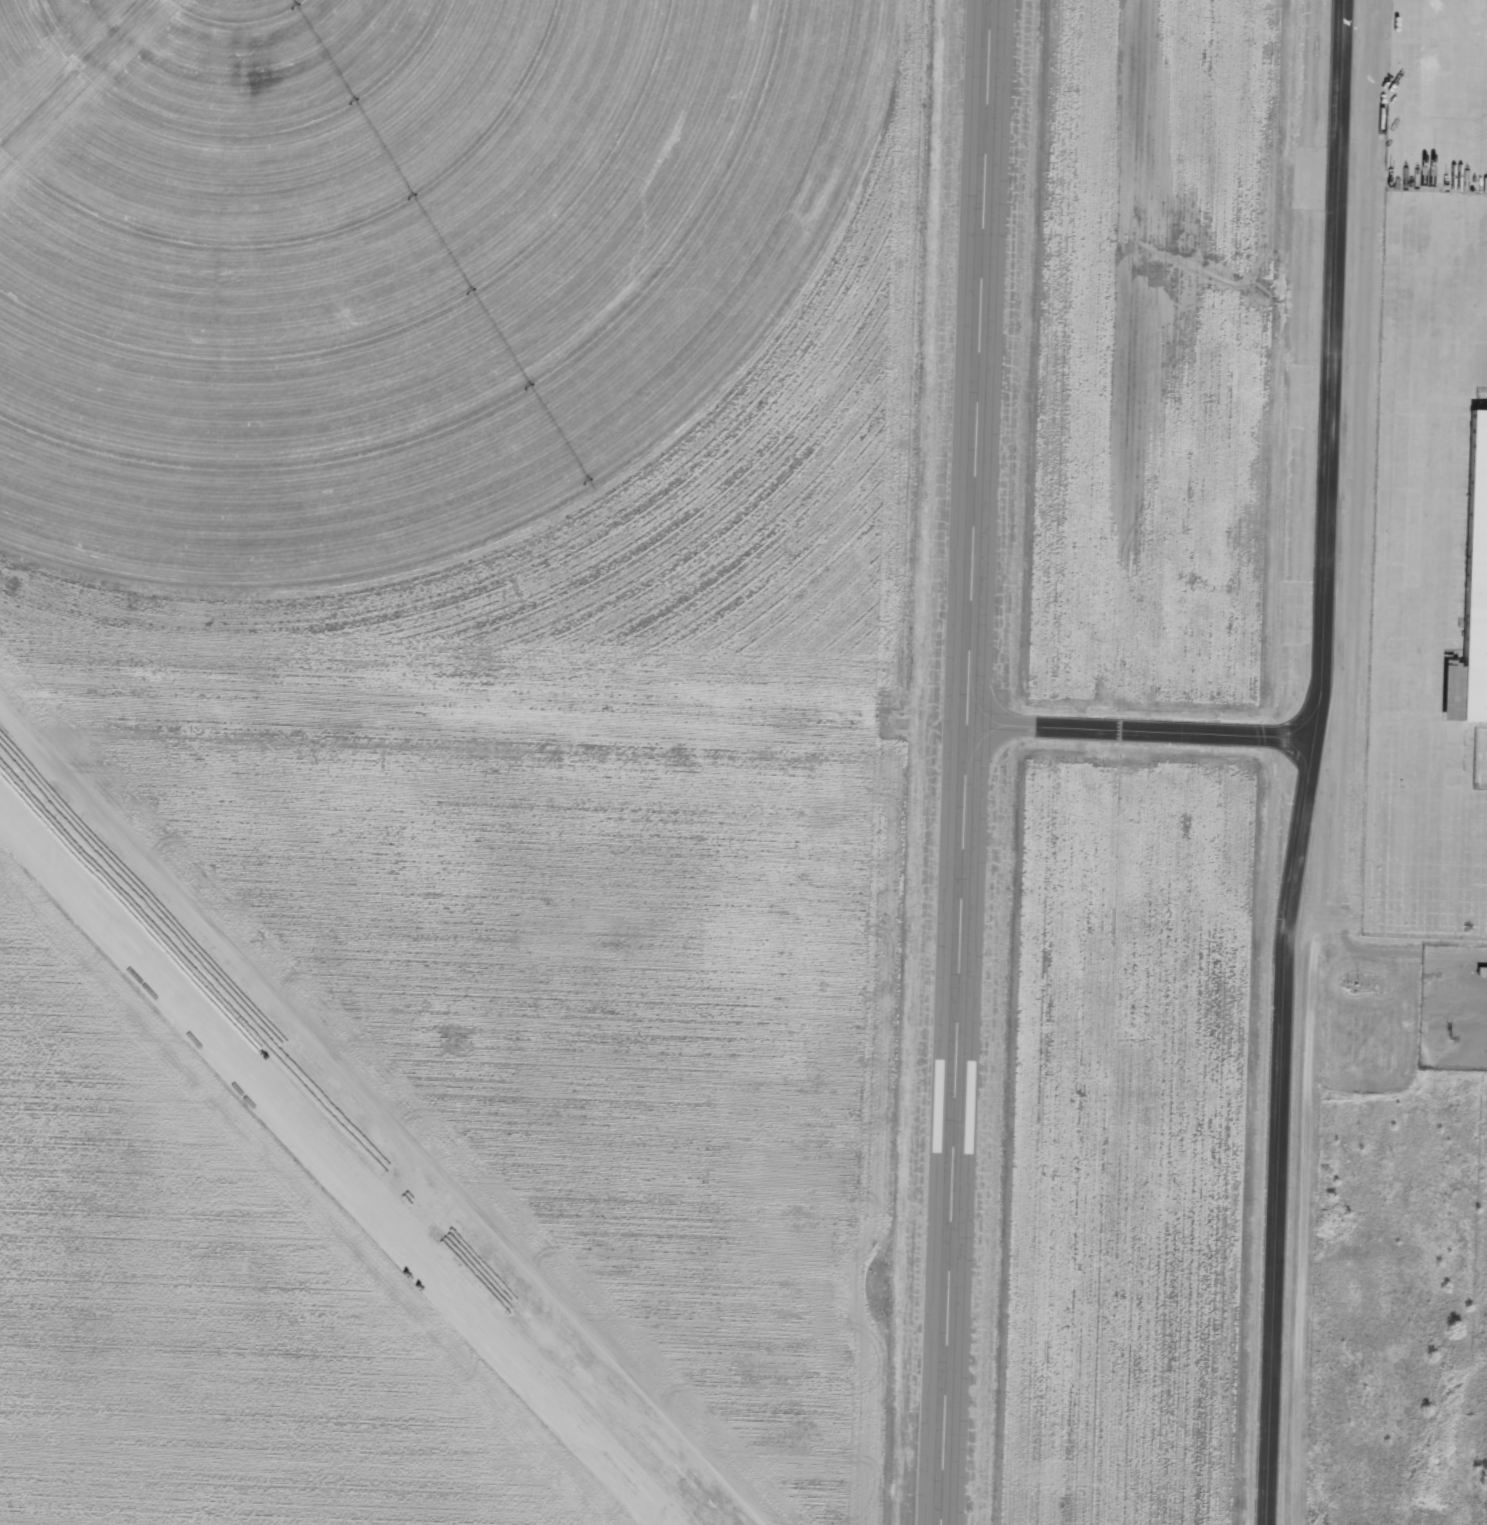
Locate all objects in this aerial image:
crop: (395, 256)
airport apron: (1402, 475)
building: (1473, 597)
airport taxiway: (1138, 735)
airport: (743, 762)
airport runway: (965, 762)
airport taxiway: (1307, 763)

